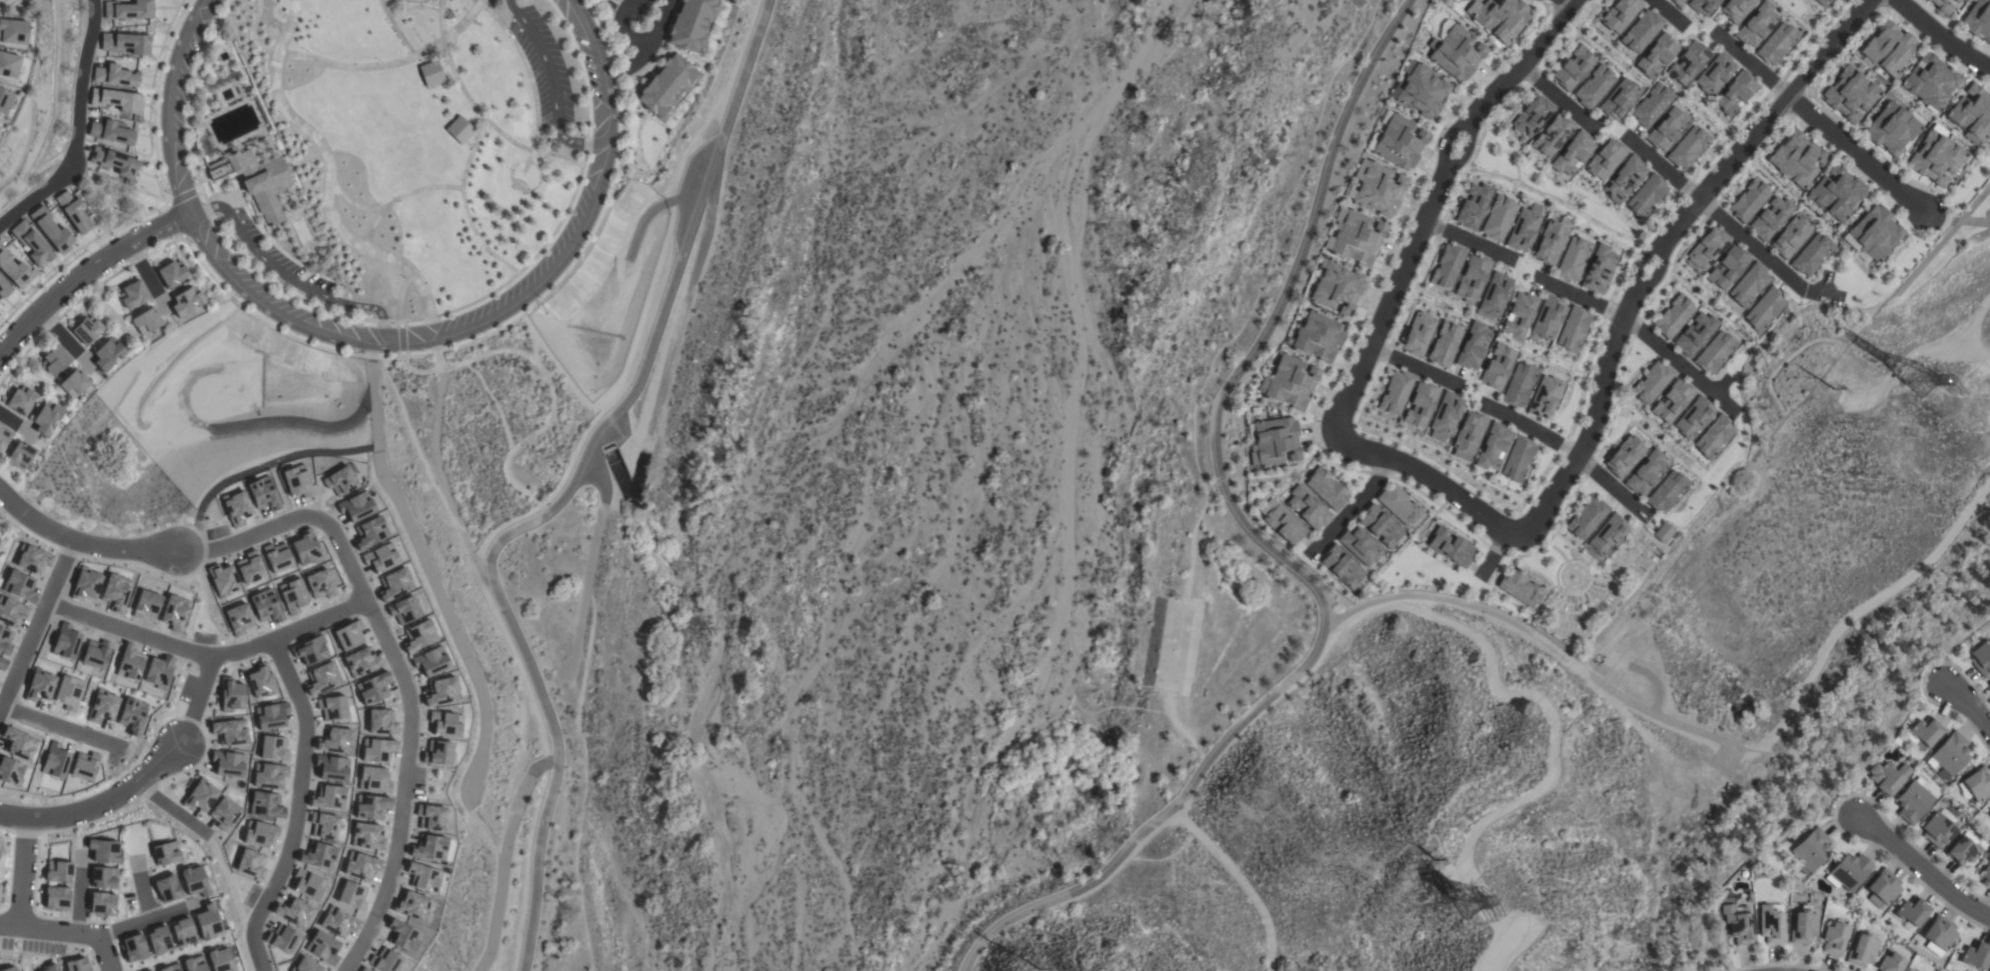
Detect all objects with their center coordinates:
building: (619, 0)
building: (1926, 0)
building: (1957, 1)
building: (1677, 2)
building: (1822, 2)
road: (1568, 6)
building: (1702, 6)
building: (1942, 6)
road: (413, 7)
building: (1736, 9)
building: (127, 10)
road: (1671, 12)
building: (1619, 15)
building: (1499, 18)
building: (1978, 20)
building: (691, 24)
building: (1756, 24)
road: (394, 29)
building: (12, 31)
building: (1641, 31)
road: (1943, 35)
road: (639, 43)
building: (1776, 43)
building: (123, 44)
building: (1888, 48)
building: (1455, 51)
building: (1655, 55)
building: (1688, 63)
building: (8, 65)
road: (1755, 66)
road: (356, 67)
building: (1573, 68)
parking lot: (545, 70)
building: (431, 73)
building: (1715, 73)
building: (115, 76)
road: (529, 76)
building: (220, 82)
building: (1930, 82)
building: (666, 86)
building: (1594, 87)
road: (551, 88)
building: (1422, 90)
building: (1734, 92)
building: (1850, 94)
building: (1619, 99)
building: (4, 100)
building: (116, 100)
road: (1561, 100)
building: (1651, 105)
building: (1972, 115)
building: (1531, 117)
road: (486, 121)
road: (77, 128)
building: (1667, 129)
building: (1891, 129)
building: (459, 130)
building: (0, 132)
building: (109, 133)
building: (1552, 135)
building: (1399, 142)
park: (387, 145)
building: (205, 147)
building: (1688, 147)
building: (1572, 153)
road: (1859, 154)
road: (306, 158)
building: (1936, 158)
building: (1605, 159)
building: (1796, 159)
building: (112, 162)
road: (511, 168)
road: (1669, 171)
building: (1624, 179)
building: (258, 181)
building: (1377, 188)
building: (1836, 193)
building: (1646, 196)
road: (399, 197)
road: (327, 198)
building: (1749, 200)
road: (1434, 203)
road: (352, 205)
building: (1473, 206)
building: (73, 211)
building: (1498, 218)
building: (1770, 218)
road: (467, 219)
building: (1523, 228)
building: (51, 230)
building: (1874, 232)
building: (1355, 237)
building: (1790, 237)
road: (1469, 243)
building: (1550, 243)
building: (31, 244)
building: (1707, 248)
road: (1764, 254)
building: (1811, 254)
parking lot: (275, 259)
building: (1573, 259)
building: (1447, 266)
building: (1727, 267)
building: (1598, 269)
building: (14, 271)
road: (82, 274)
building: (171, 274)
road: (285, 277)
building: (1472, 279)
building: (1749, 285)
building: (1336, 287)
building: (3, 289)
road: (399, 294)
building: (133, 295)
building: (1495, 295)
road: (1581, 300)
building: (186, 302)
building: (1764, 309)
building: (1519, 316)
building: (1673, 316)
building: (1548, 317)
building: (145, 321)
building: (86, 329)
building: (1573, 329)
building: (1418, 334)
building: (1695, 334)
road: (400, 336)
building: (1318, 336)
road: (1616, 341)
building: (1444, 344)
building: (1472, 346)
road: (386, 347)
building: (1714, 352)
building: (107, 354)
building: (54, 360)
road: (1675, 363)
building: (1497, 366)
road: (1416, 367)
road: (414, 372)
power tower: (1913, 377)
building: (1290, 382)
building: (1651, 382)
building: (73, 384)
building: (1519, 385)
building: (1395, 392)
building: (1544, 397)
building: (20, 400)
building: (1672, 401)
road: (551, 402)
building: (1420, 405)
building: (1445, 416)
building: (46, 418)
building: (1693, 418)
park: (494, 420)
road: (1539, 433)
building: (4, 435)
building: (1468, 435)
building: (1714, 436)
building: (1274, 442)
building: (1492, 446)
road: (435, 450)
building: (19, 456)
building: (1625, 456)
building: (1517, 459)
building: (1646, 472)
road: (1285, 477)
road: (1612, 483)
building: (1326, 488)
road: (566, 491)
building: (1666, 491)
building: (1399, 505)
road: (1355, 506)
building: (1307, 507)
building: (1587, 518)
building: (1281, 522)
building: (1380, 526)
building: (1664, 533)
building: (1608, 535)
road: (81, 544)
building: (1360, 546)
building: (1451, 547)
road: (1265, 548)
road: (1494, 554)
road: (590, 559)
building: (1342, 566)
road: (59, 569)
building: (1520, 588)
road: (151, 637)
road: (1550, 650)
building: (1981, 658)
road: (403, 664)
building: (1989, 684)
building: (67, 693)
building: (230, 695)
road: (1967, 705)
building: (101, 708)
building: (130, 716)
road: (59, 727)
building: (1925, 731)
building: (228, 732)
building: (271, 748)
building: (1950, 754)
building: (226, 764)
building: (82, 768)
road: (1795, 773)
building: (267, 775)
building: (1887, 777)
building: (1978, 784)
road: (297, 792)
building: (199, 797)
building: (1912, 802)
road: (1835, 804)
building: (264, 805)
road: (100, 806)
building: (223, 813)
building: (1989, 815)
building: (1937, 830)
building: (257, 834)
building: (1963, 849)
building: (1810, 850)
building: (103, 851)
building: (164, 853)
road: (504, 857)
road: (218, 862)
building: (249, 864)
road: (1920, 868)
building: (57, 872)
building: (1848, 872)
road: (22, 874)
building: (1986, 874)
building: (103, 878)
building: (193, 880)
building: (166, 888)
building: (1883, 888)
building: (55, 898)
building: (101, 904)
power tower: (1458, 906)
building: (1912, 911)
road: (141, 919)
building: (206, 923)
building: (1738, 924)
building: (1771, 924)
building: (1803, 926)
road: (67, 932)
building: (181, 932)
building: (1940, 933)
building: (1834, 939)
building: (157, 940)
building: (133, 948)
building: (1862, 951)
building: (1976, 955)
building: (202, 963)
building: (1890, 963)
building: (75, 965)
building: (9, 969)
building: (50, 969)
building: (1908, 969)

